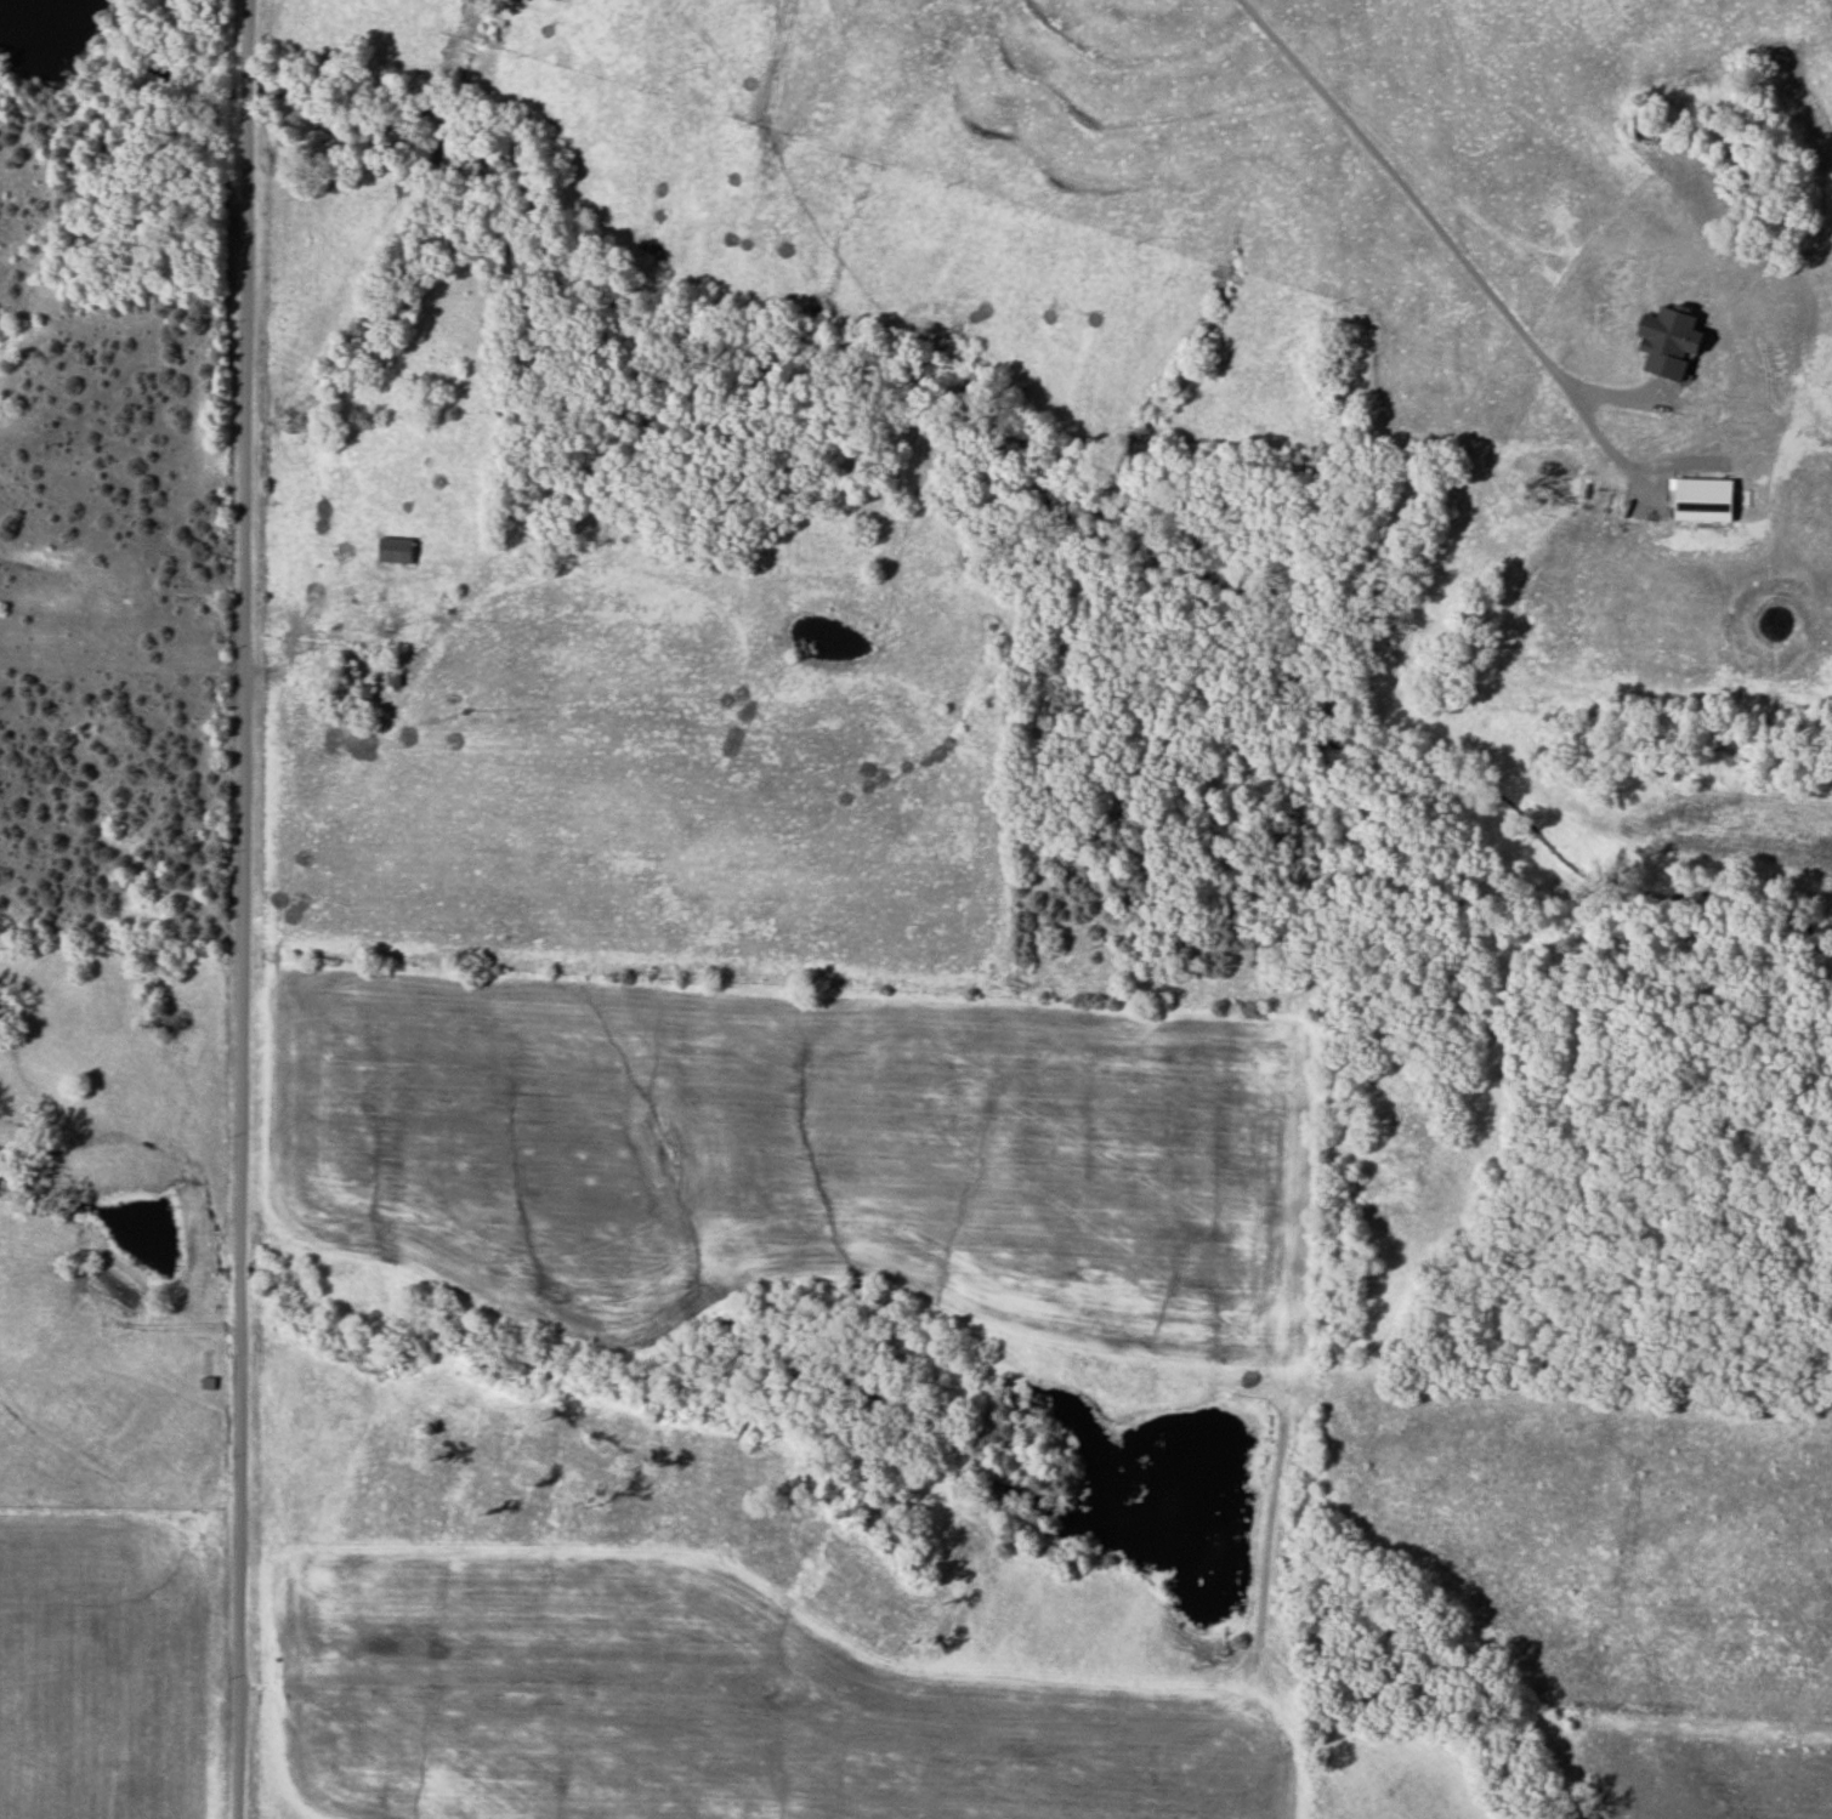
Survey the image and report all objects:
road: (1401, 195)
building: (397, 551)
road: (248, 909)

